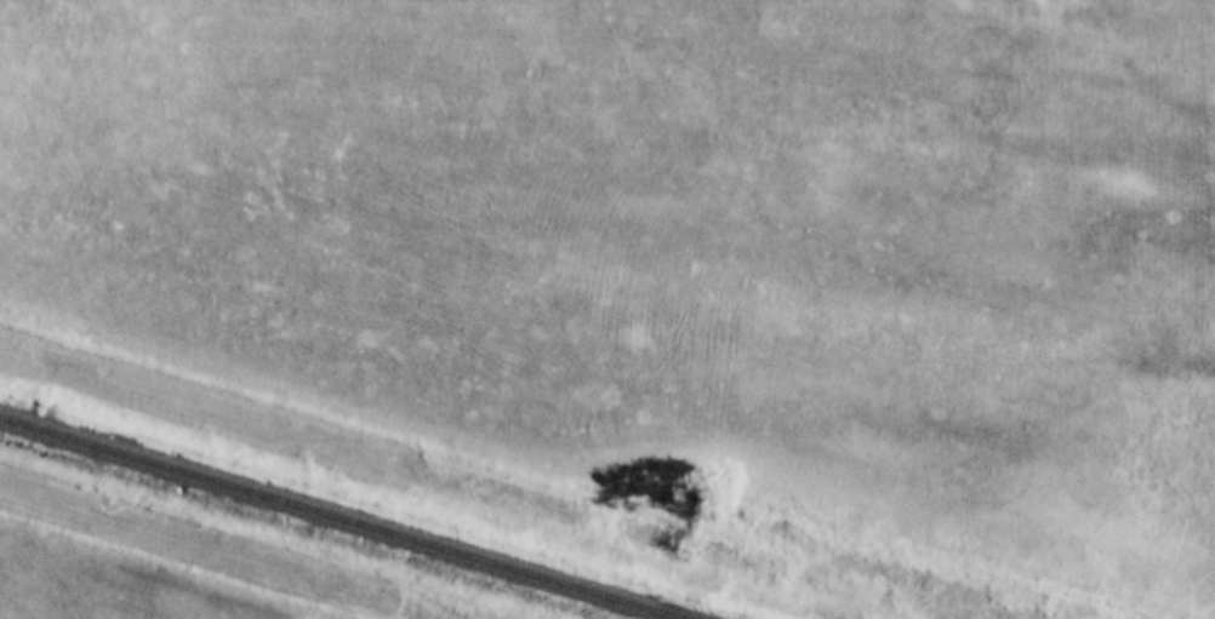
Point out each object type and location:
railway: (337, 518)

